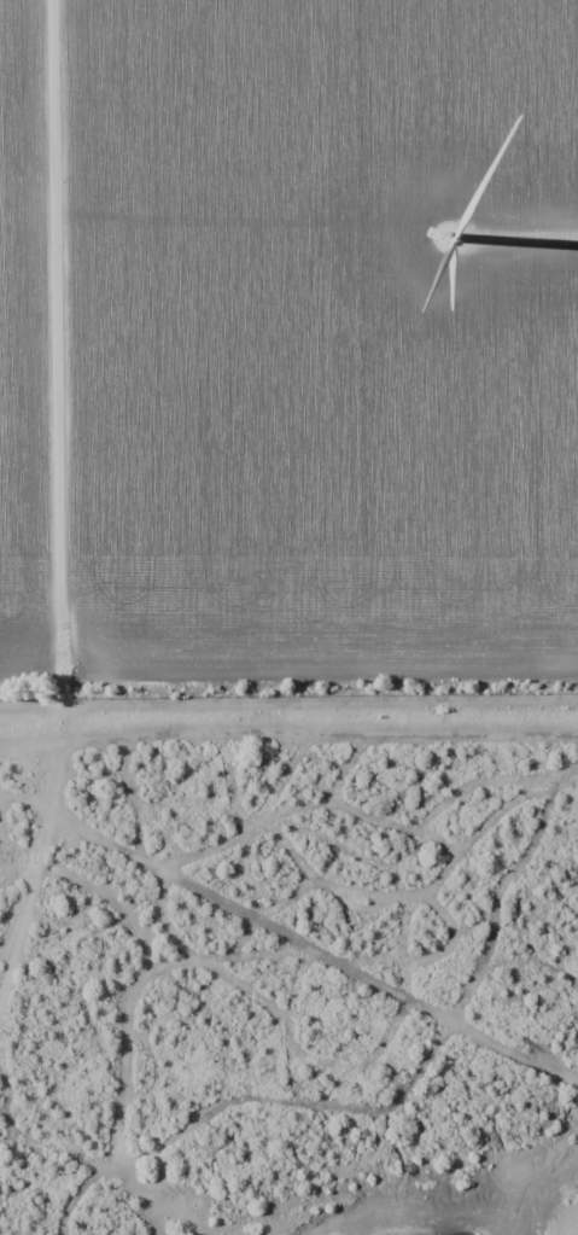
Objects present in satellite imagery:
road: (34, 72)
wind turbine: (451, 238)

